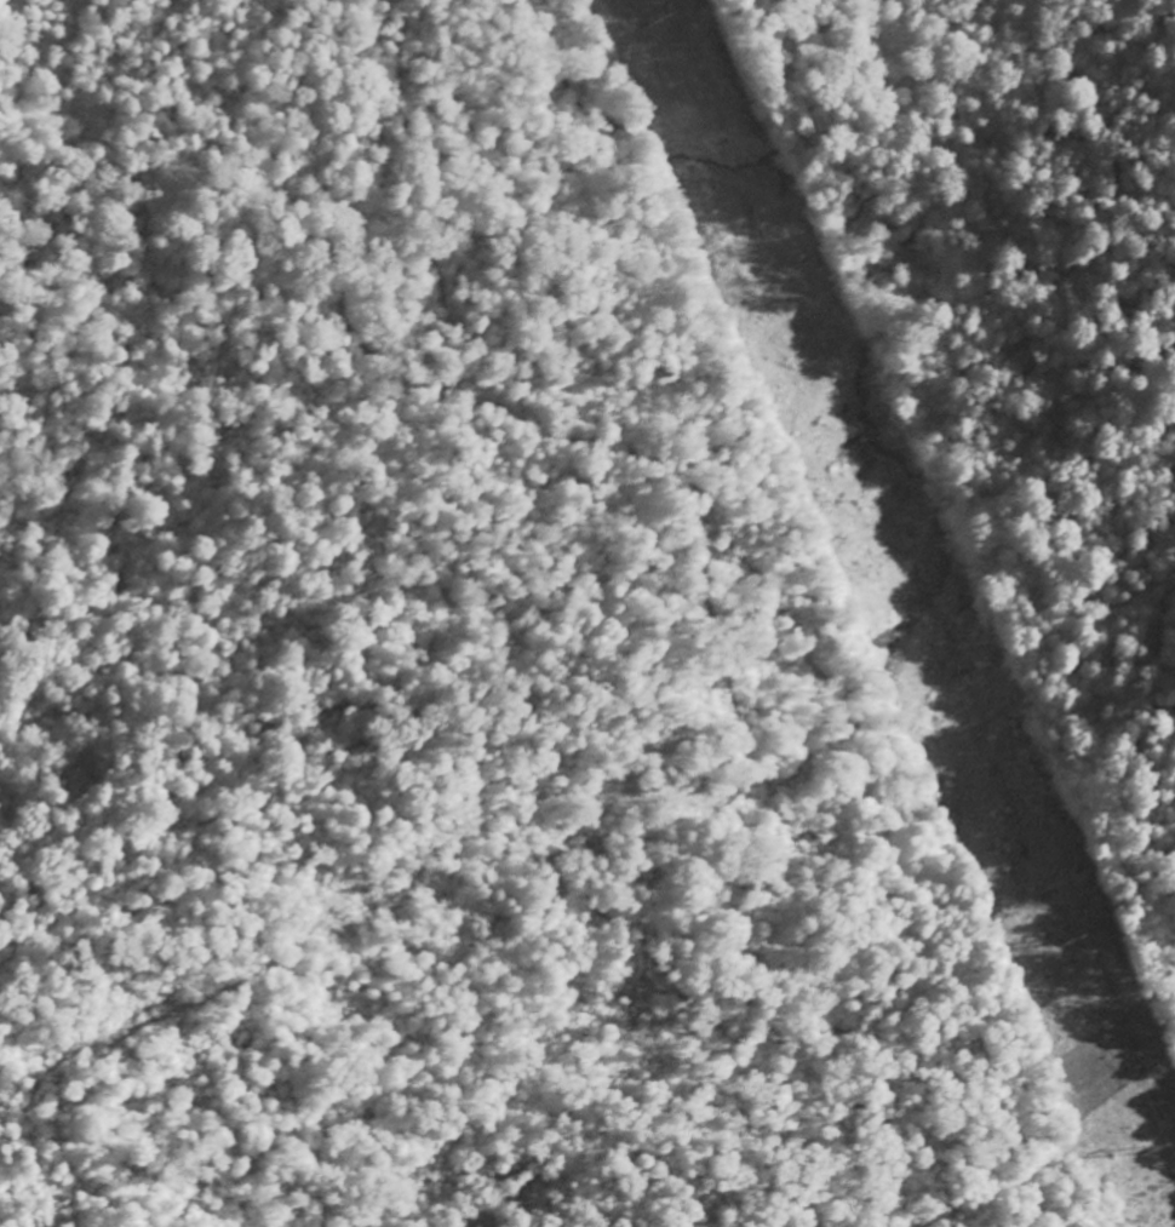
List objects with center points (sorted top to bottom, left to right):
power tower: (1152, 1148)

